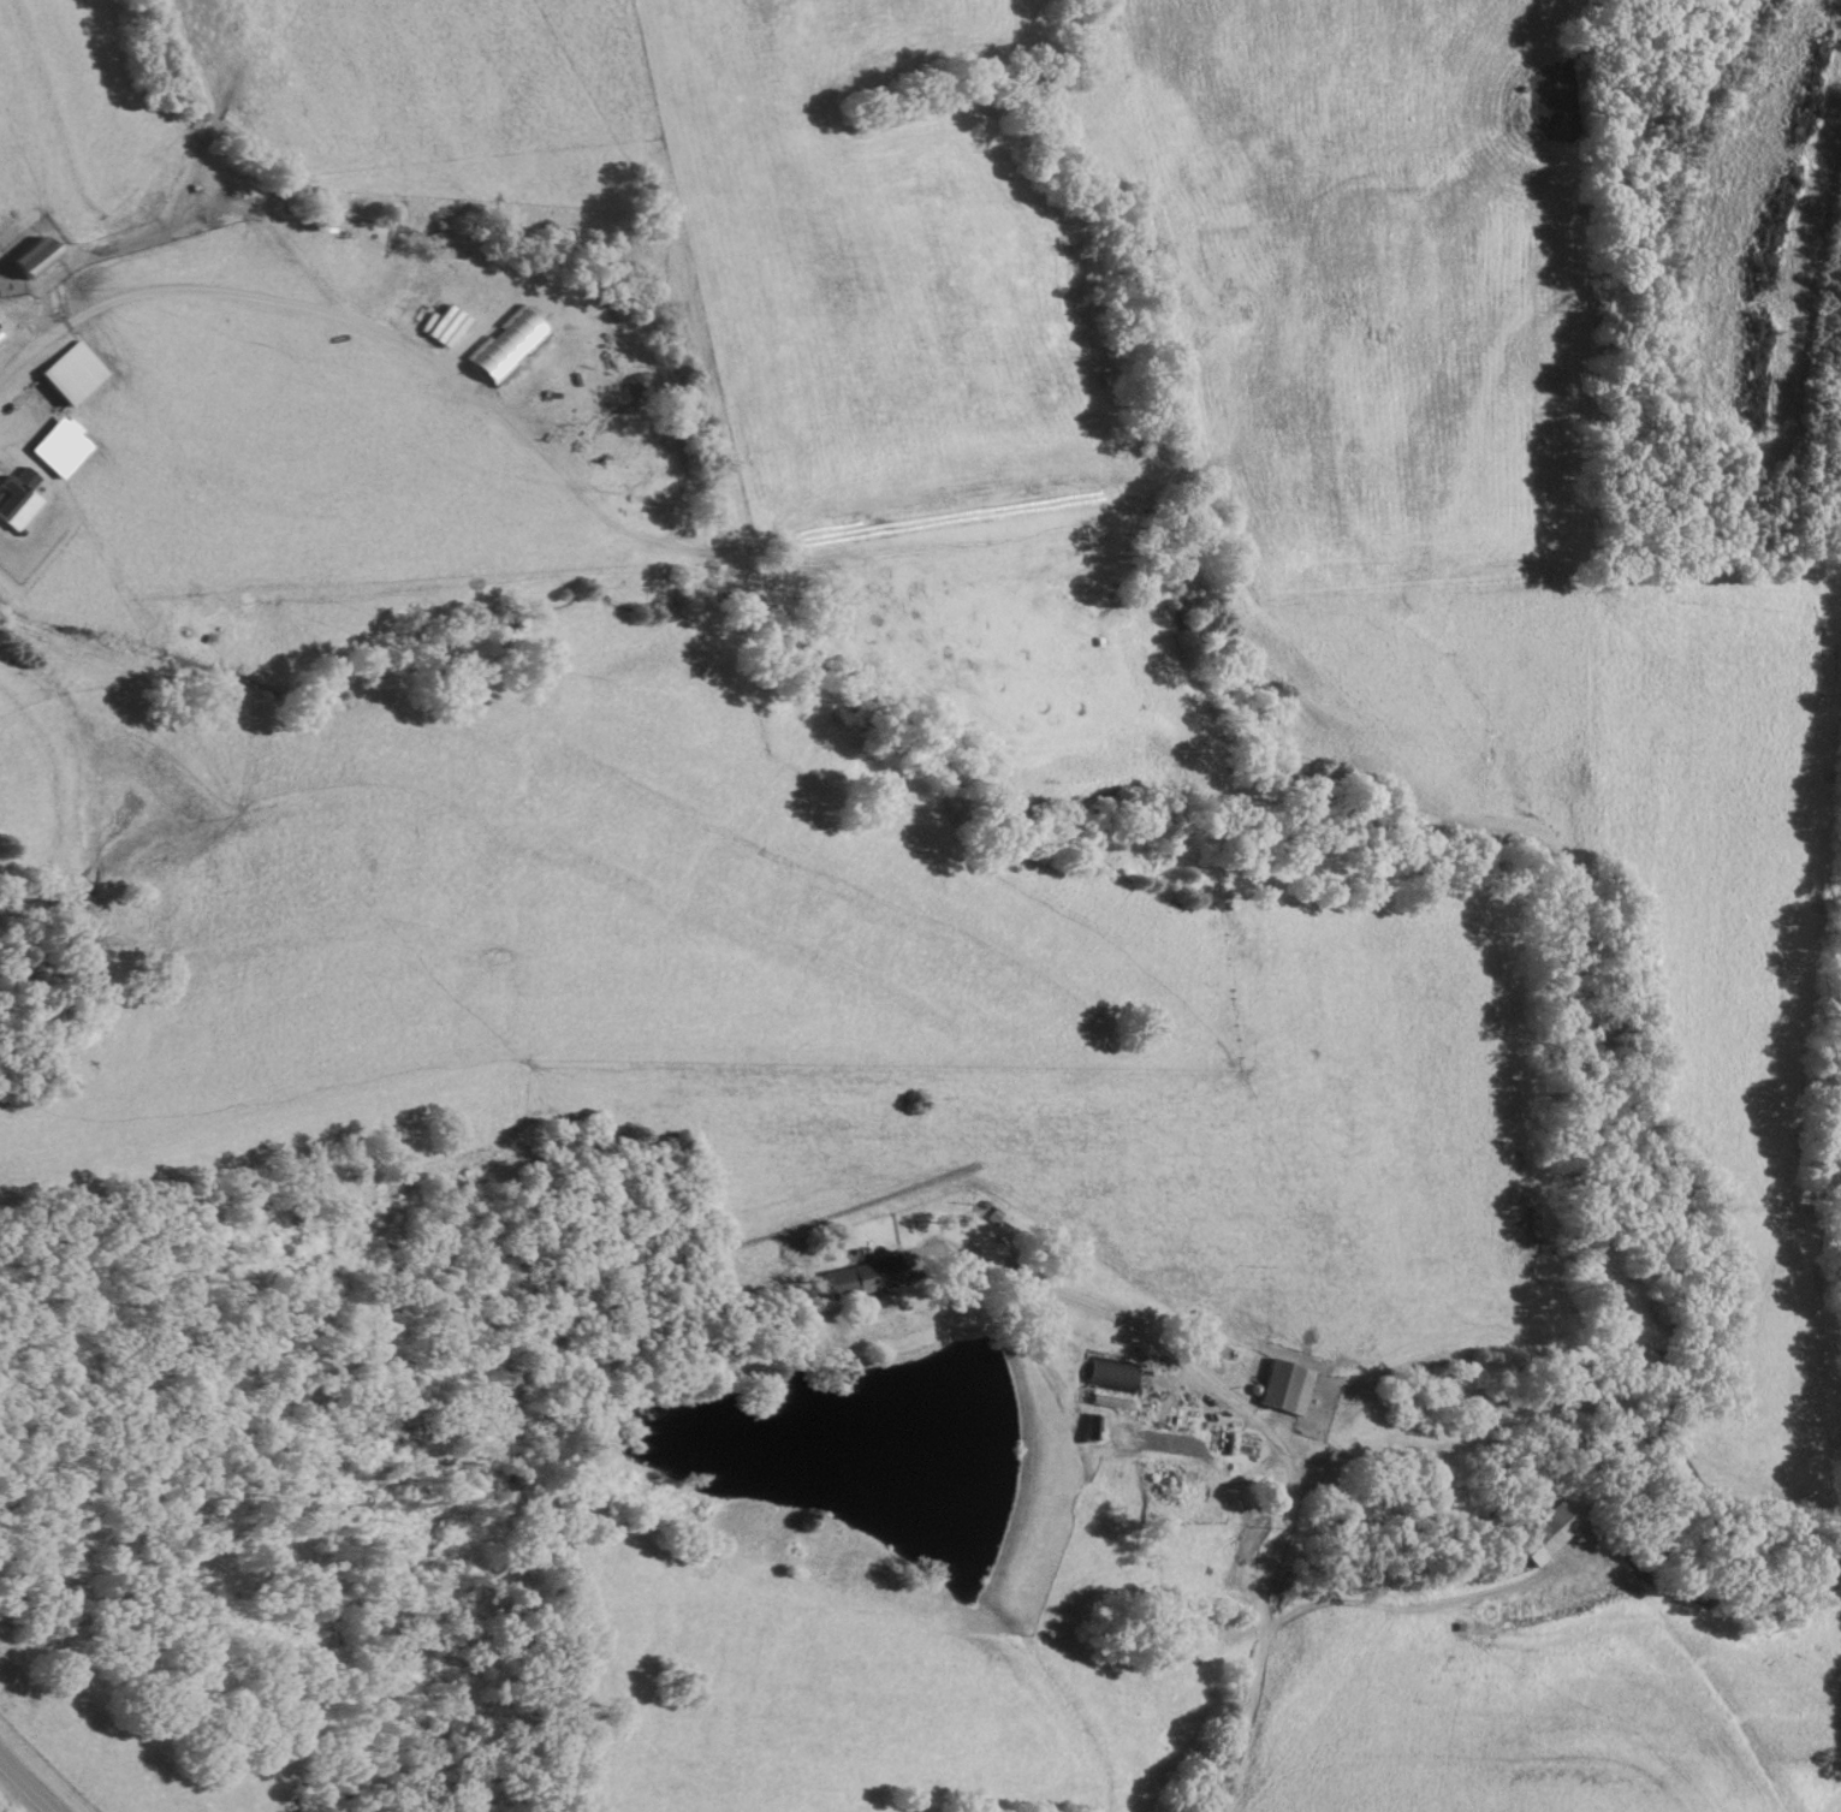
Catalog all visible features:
building: (25, 261)
building: (501, 349)
building: (67, 375)
building: (57, 450)
building: (13, 488)
building: (859, 1281)
building: (1283, 1390)
road: (1258, 1428)
building: (1243, 1449)
building: (1175, 1492)
building: (1543, 1538)
road: (36, 1781)

